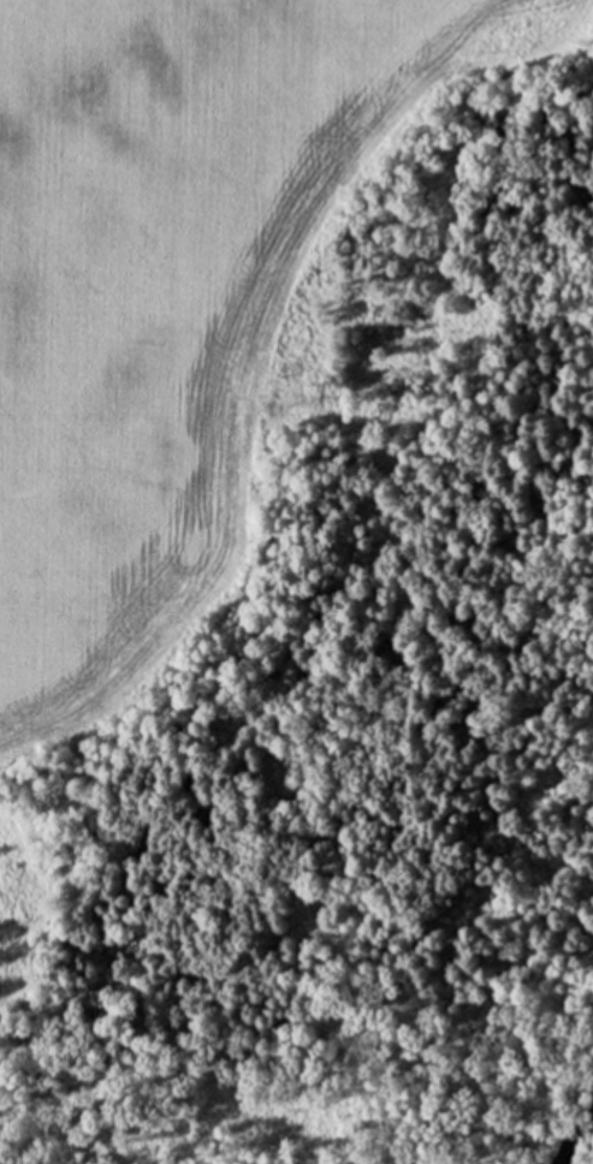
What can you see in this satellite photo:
river: (562, 1123)

